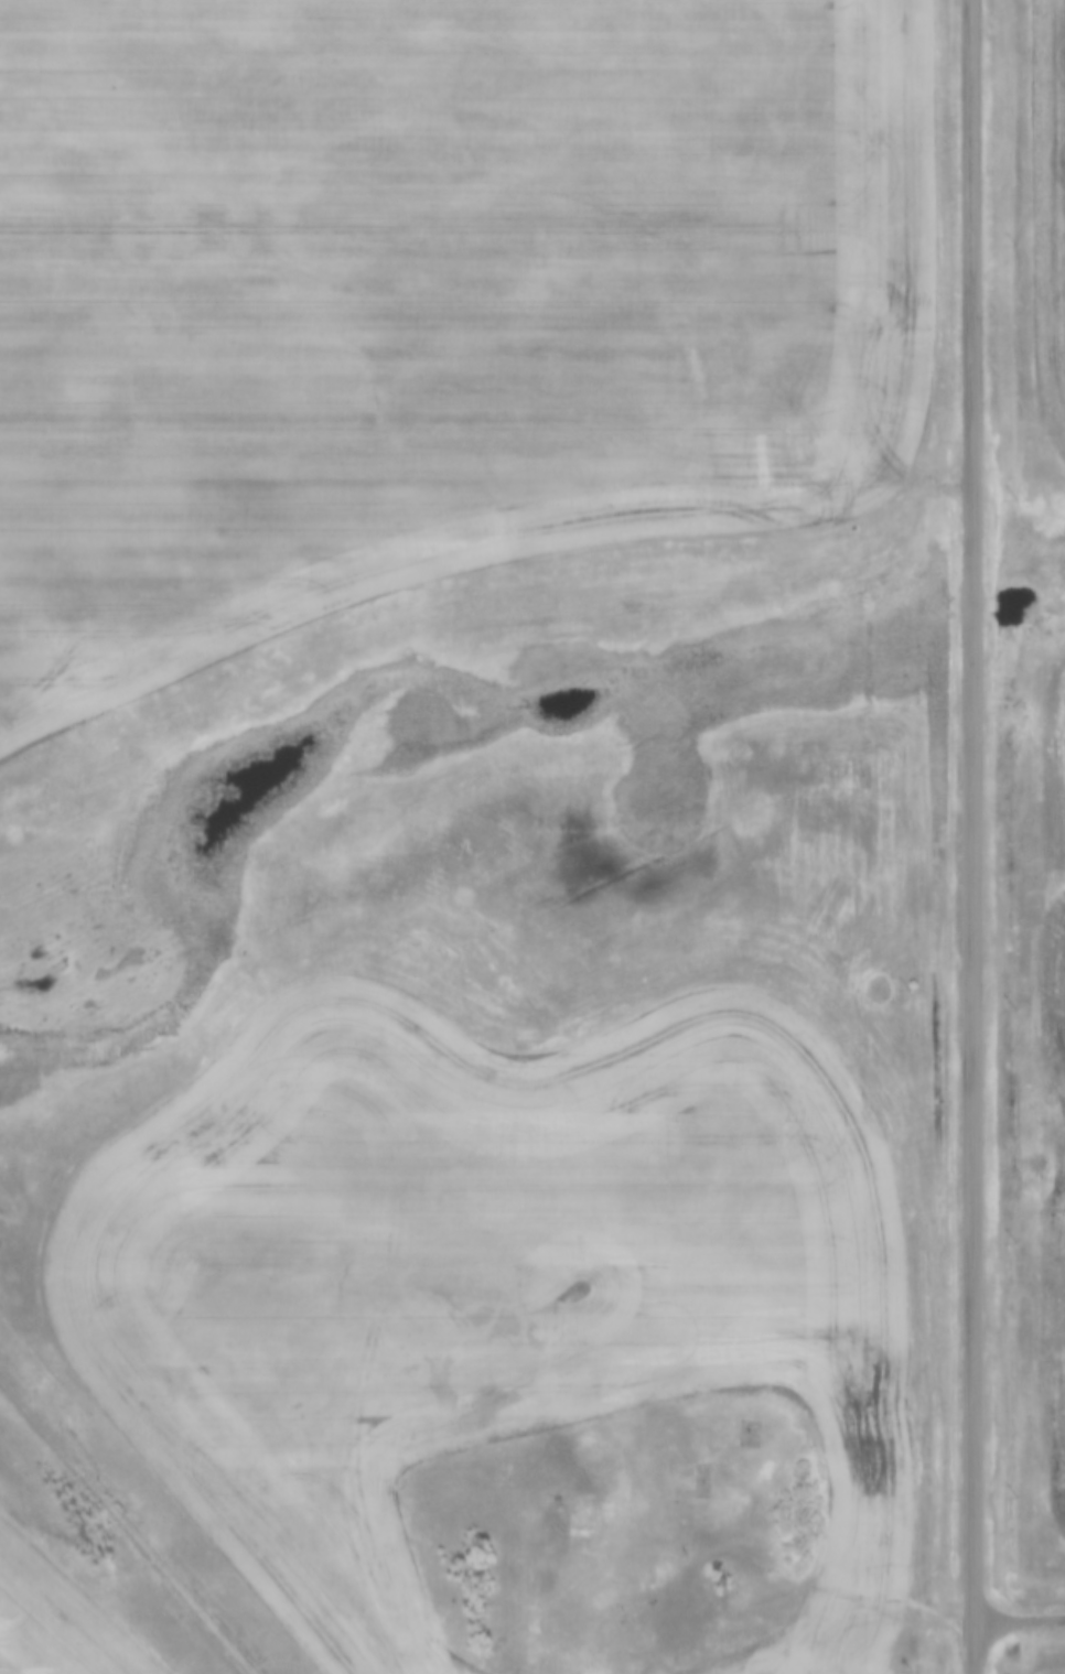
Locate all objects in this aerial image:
road: (972, 836)
road: (1019, 1614)

